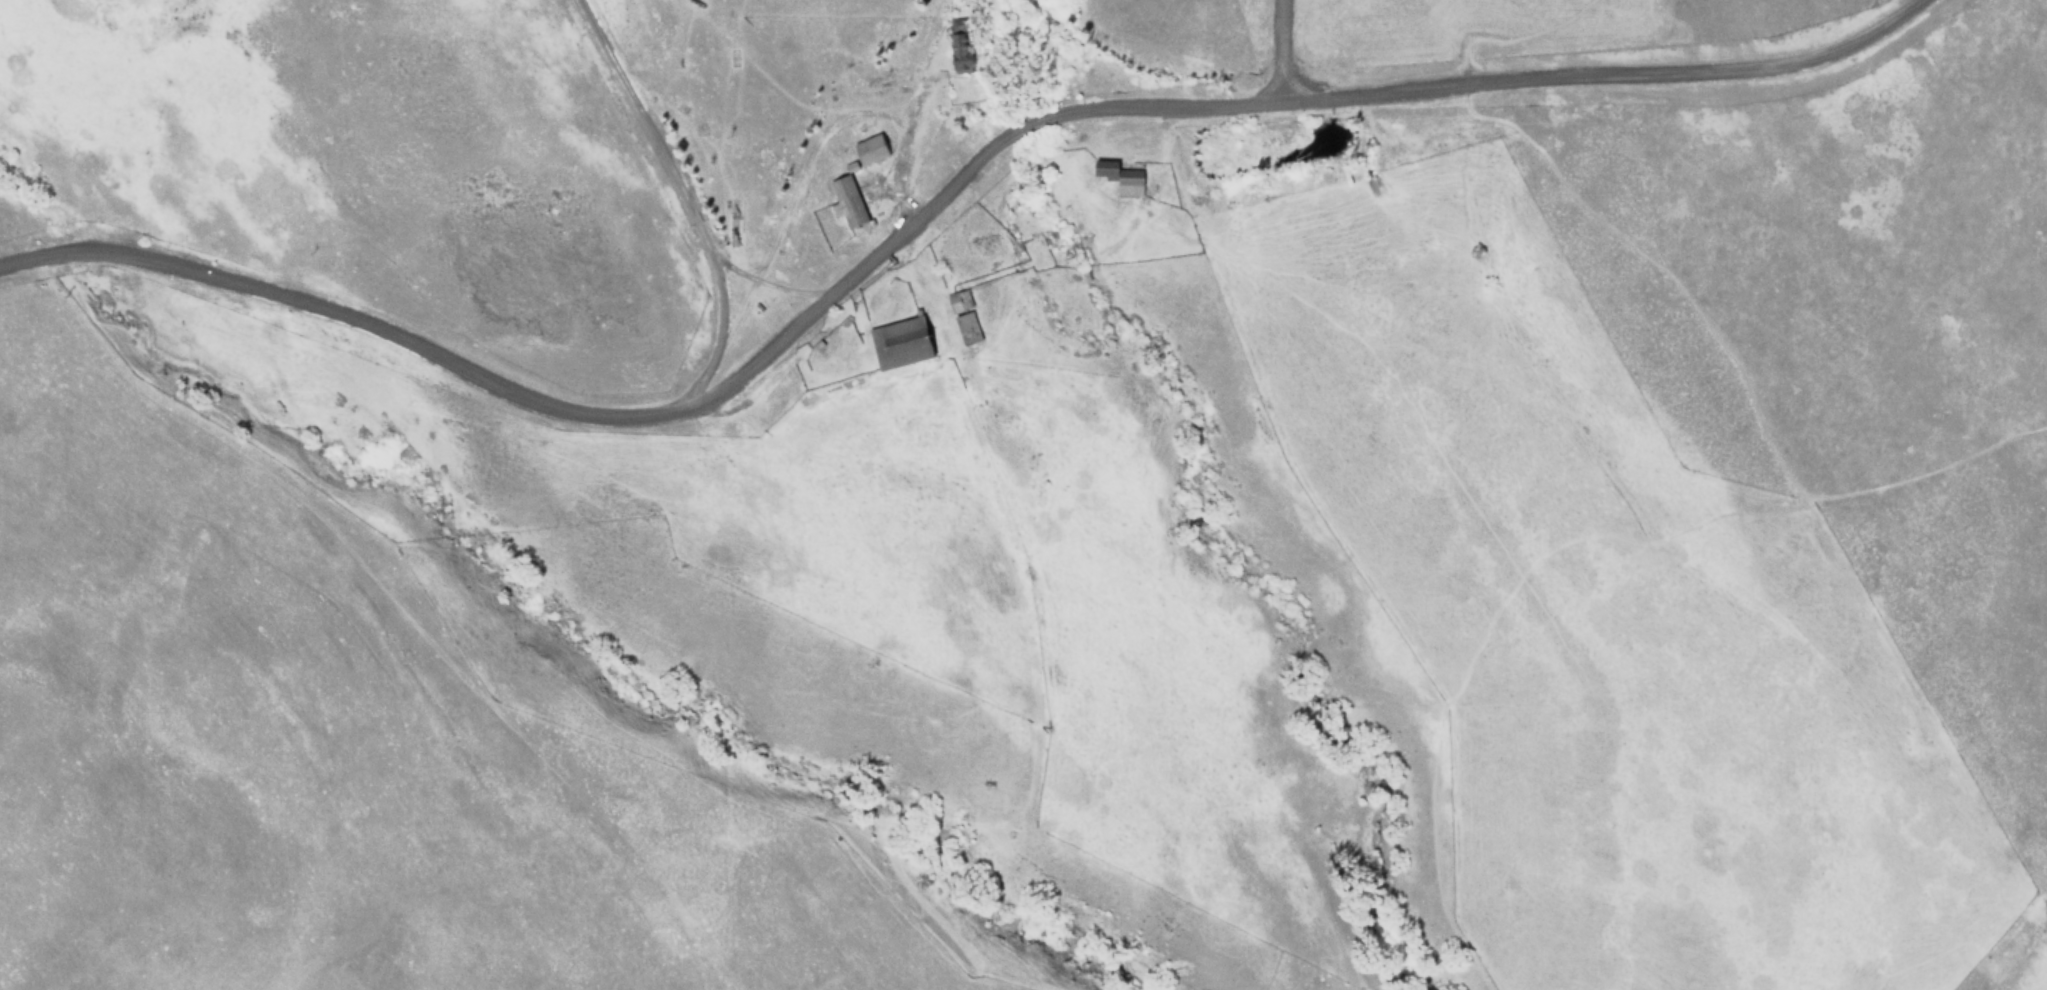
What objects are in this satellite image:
road: (1283, 47)
building: (961, 50)
building: (872, 148)
building: (1123, 174)
road: (689, 197)
building: (851, 199)
road: (927, 203)
road: (1595, 210)
road: (773, 283)
building: (957, 300)
building: (969, 327)
building: (903, 342)
road: (1926, 467)
road: (852, 631)
road: (1480, 634)

